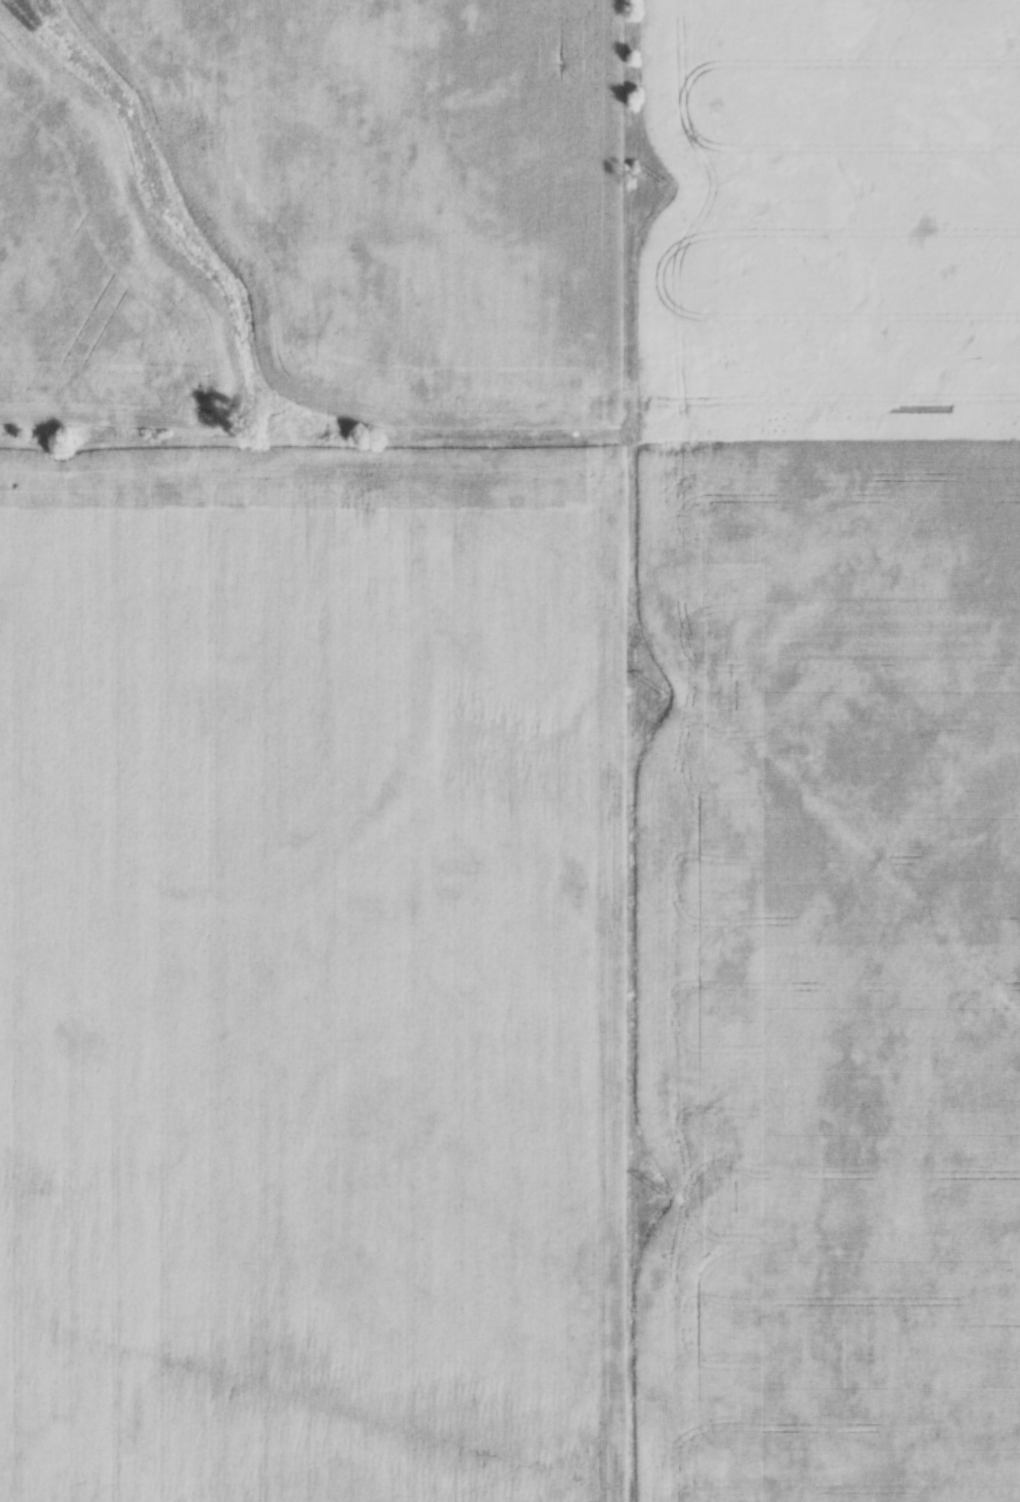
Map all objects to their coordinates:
power tower: (665, 182)
power tower: (665, 694)
power tower: (665, 1194)

